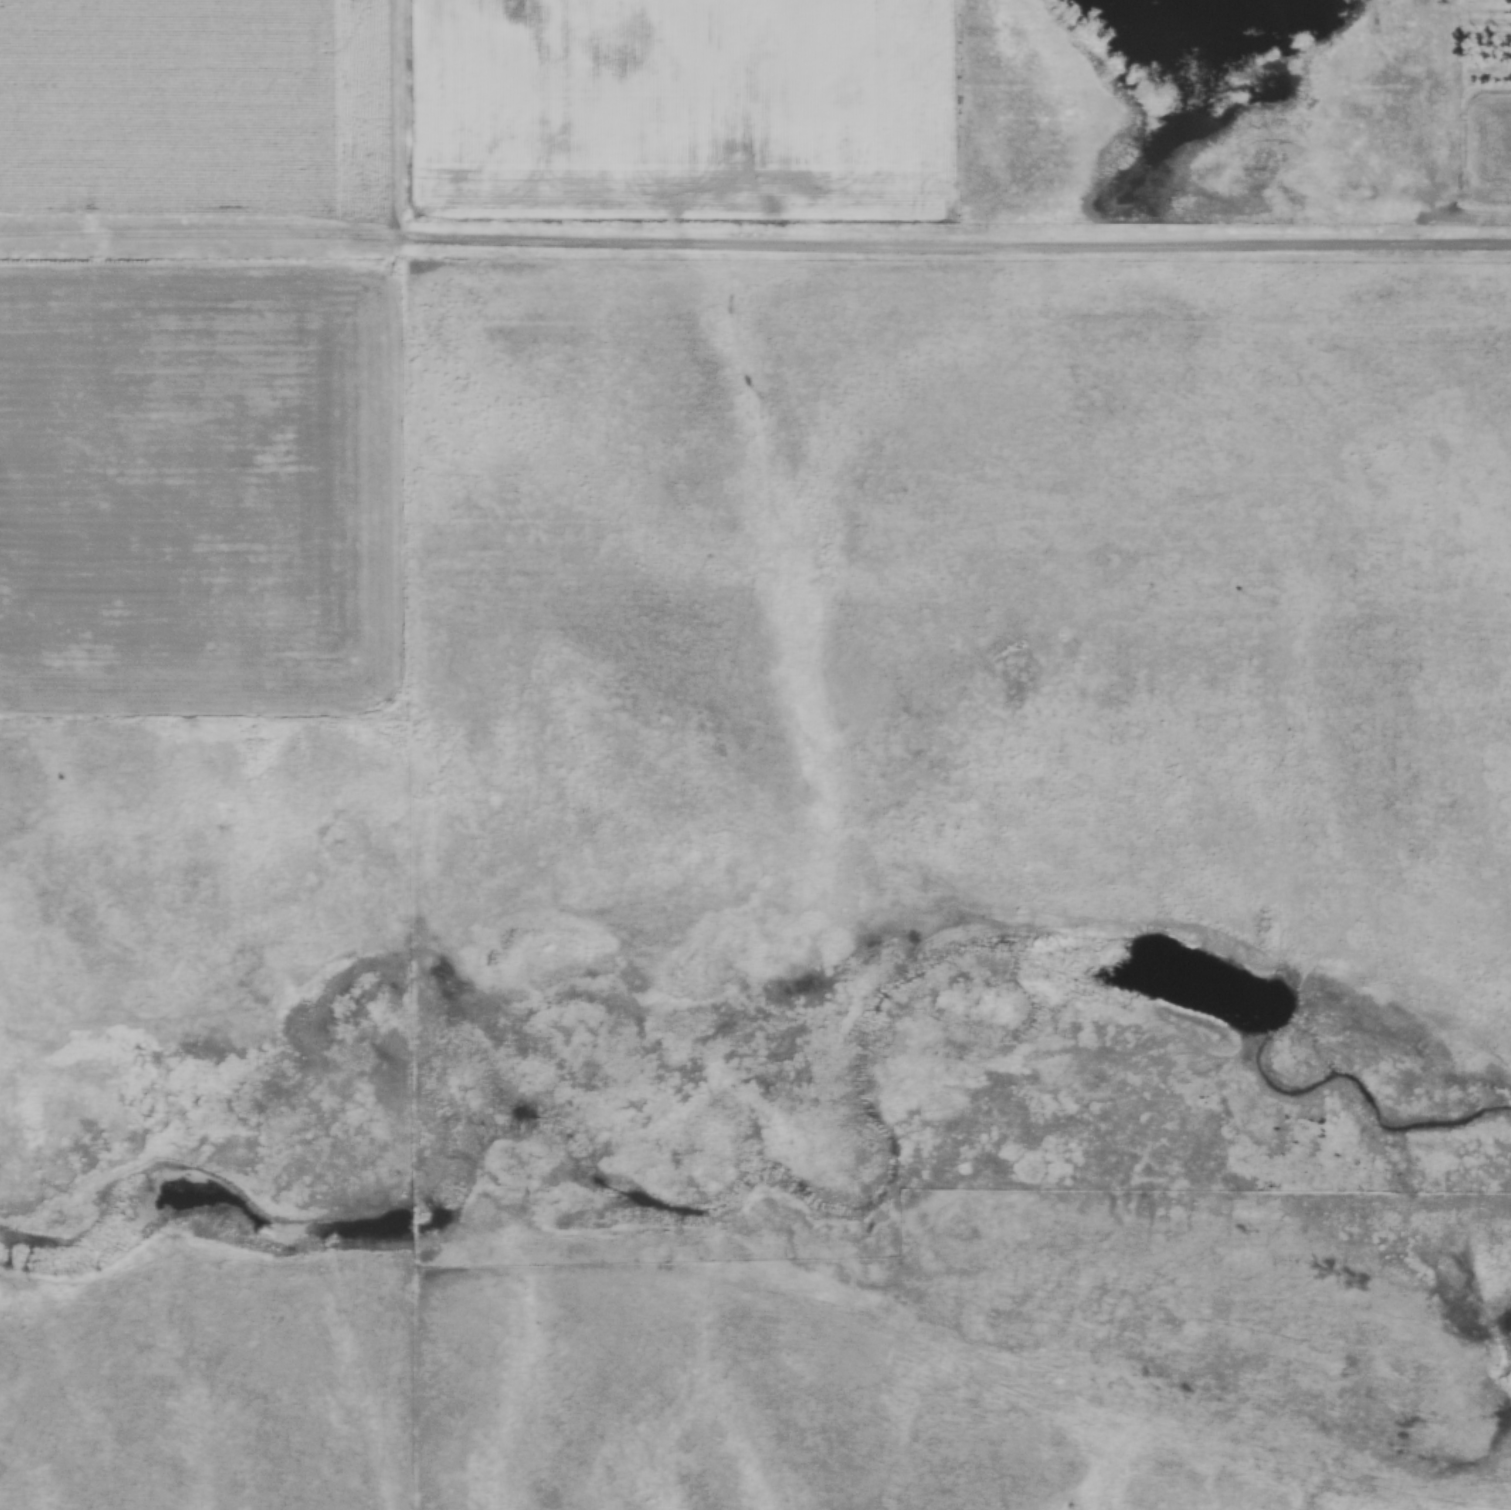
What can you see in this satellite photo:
road: (1396, 313)

